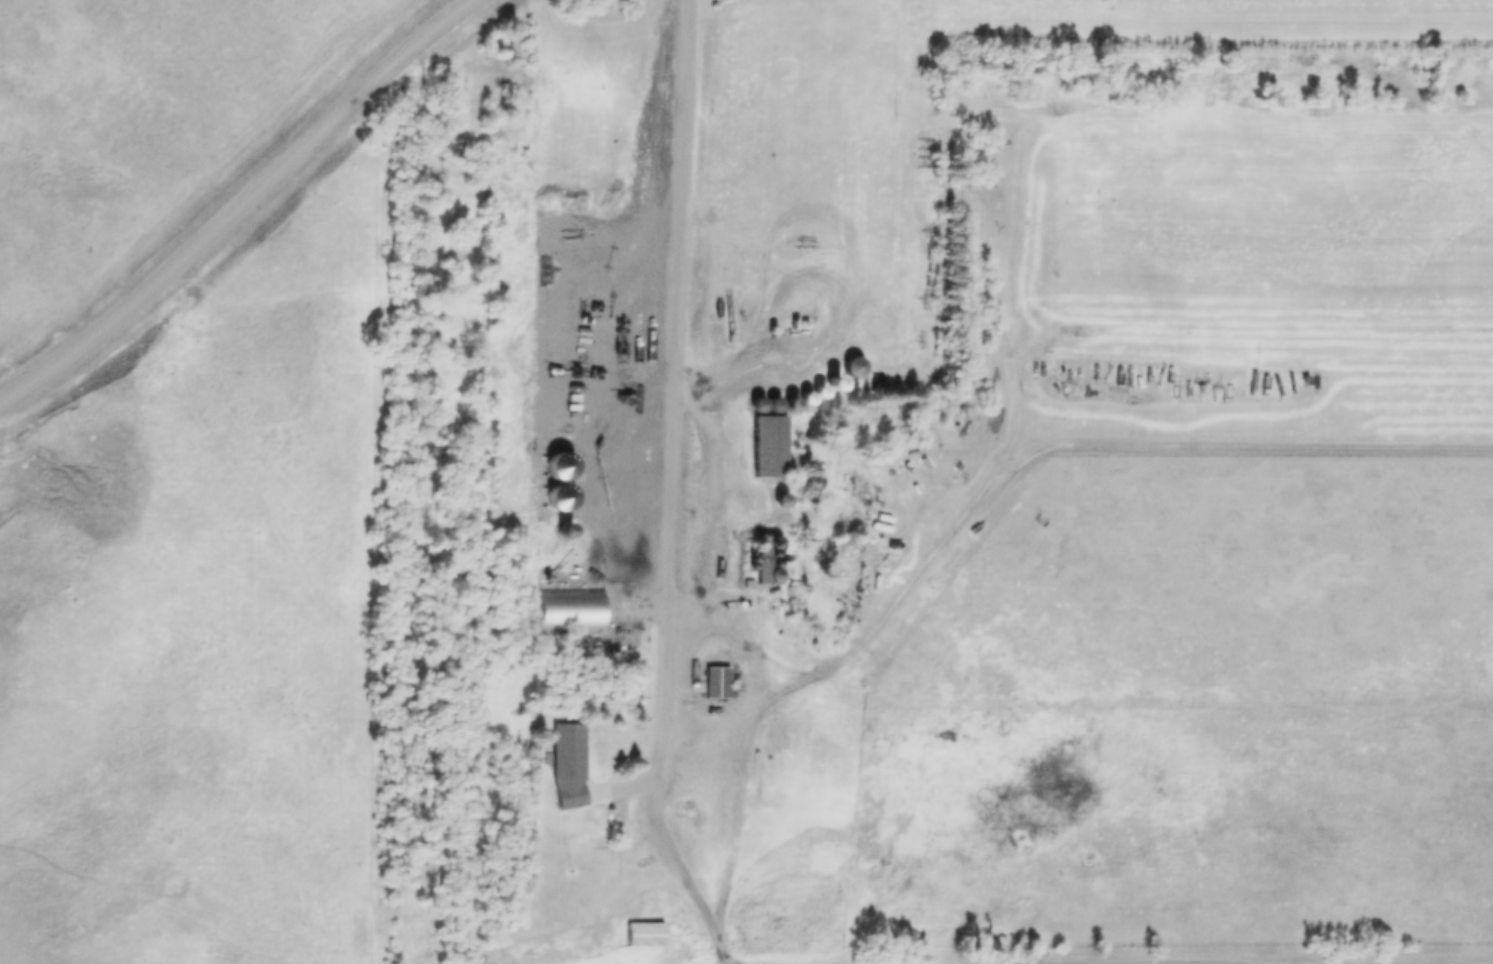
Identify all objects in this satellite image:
road: (231, 201)
building: (857, 367)
road: (1068, 442)
building: (773, 447)
road: (669, 490)
building: (569, 607)
road: (751, 664)
building: (714, 682)
building: (568, 764)
building: (647, 932)

